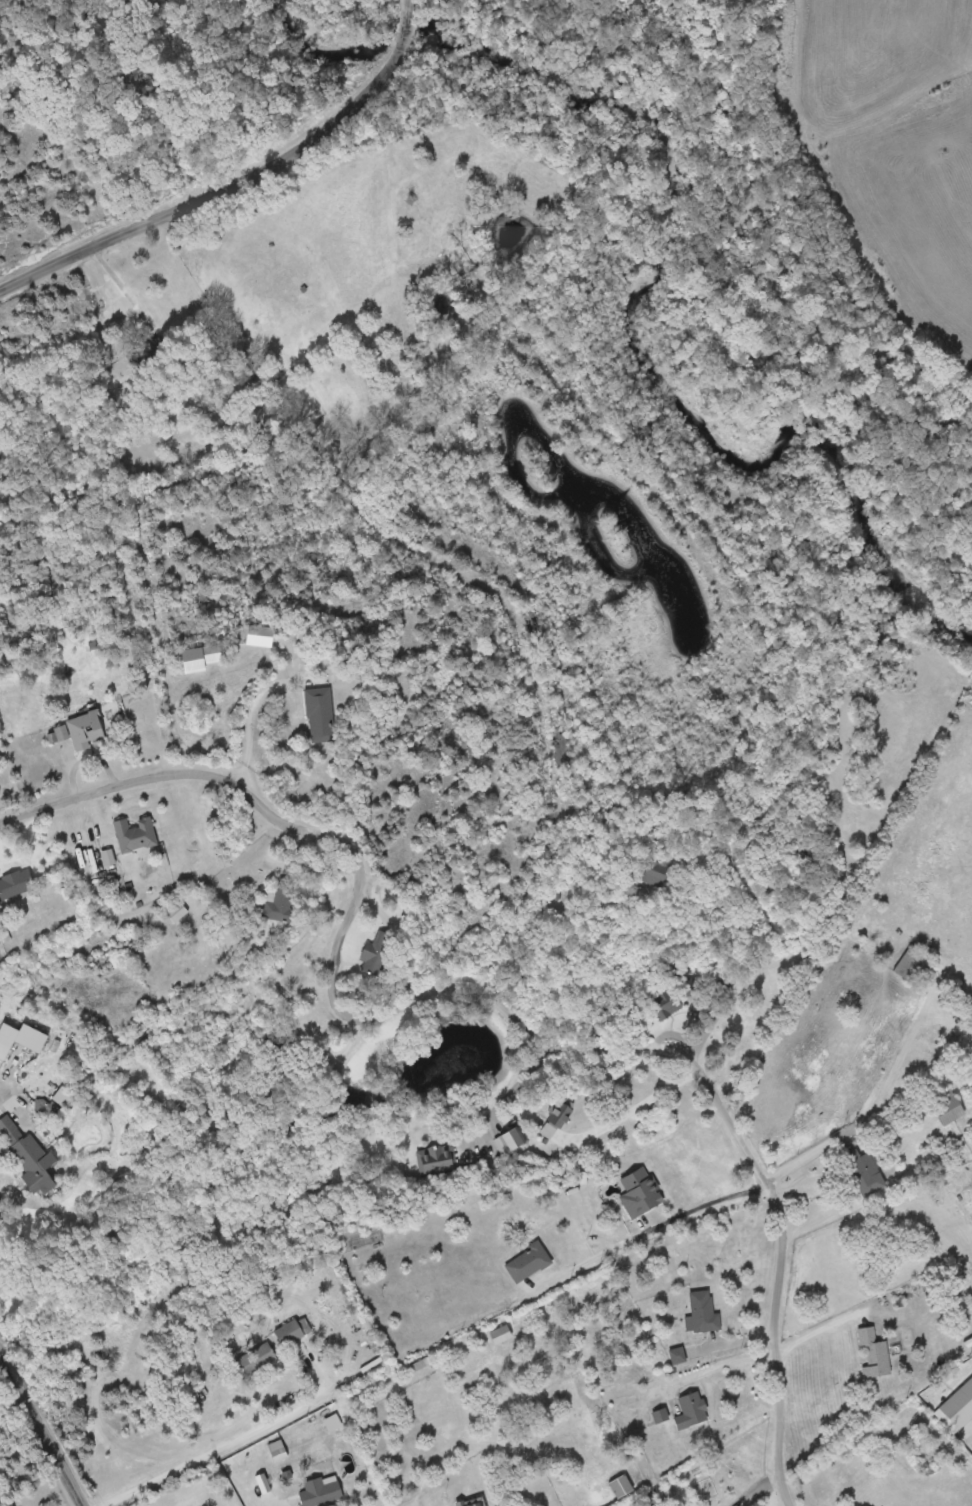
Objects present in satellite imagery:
road: (410, 2)
road: (407, 25)
road: (222, 198)
building: (148, 352)
building: (432, 426)
building: (256, 634)
building: (197, 655)
building: (320, 713)
building: (80, 729)
road: (197, 775)
building: (136, 833)
building: (648, 875)
building: (16, 883)
building: (280, 899)
building: (177, 911)
building: (378, 954)
building: (912, 964)
building: (669, 1007)
building: (21, 1038)
building: (62, 1096)
building: (945, 1106)
building: (559, 1119)
building: (511, 1138)
building: (27, 1152)
building: (437, 1158)
building: (865, 1171)
building: (634, 1193)
building: (529, 1261)
road: (777, 1267)
building: (703, 1311)
building: (288, 1332)
building: (500, 1334)
building: (874, 1352)
building: (678, 1354)
building: (254, 1358)
building: (692, 1409)
road: (35, 1438)
building: (620, 1485)
building: (321, 1492)
building: (471, 1501)

